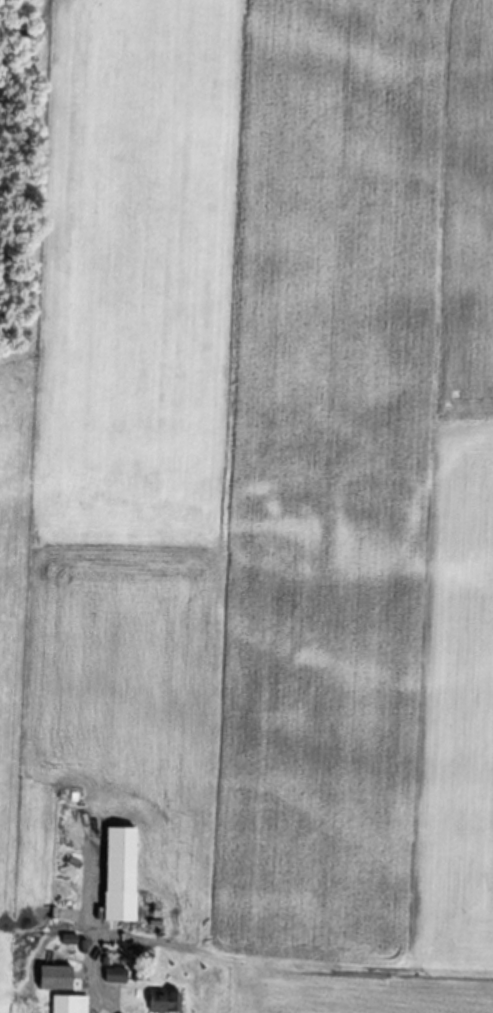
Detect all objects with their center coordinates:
building: (120, 874)
building: (20, 962)
building: (116, 975)
building: (56, 977)
building: (165, 1002)
building: (69, 1004)

